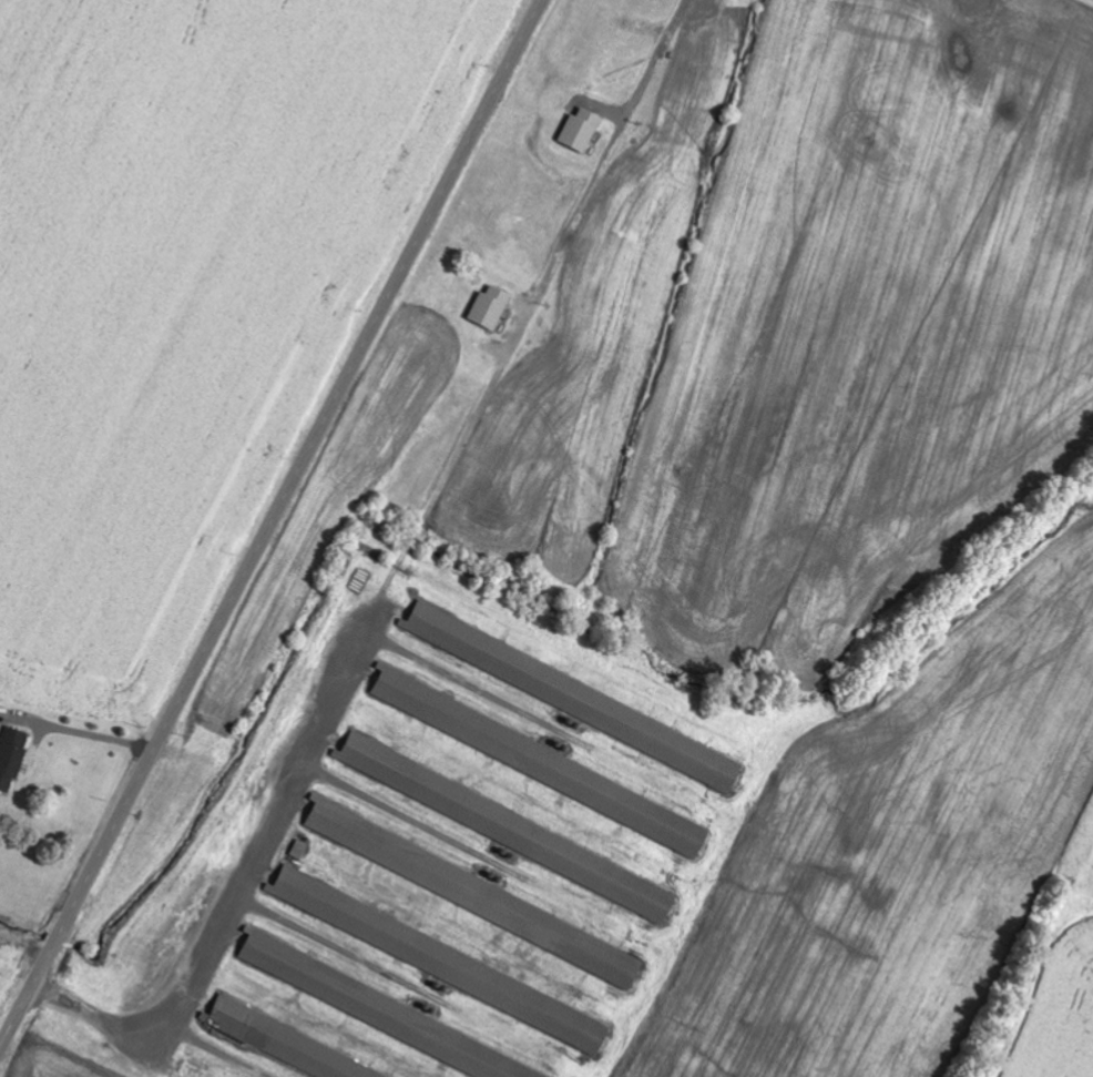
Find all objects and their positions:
building: (581, 131)
building: (491, 308)
road: (272, 525)
building: (575, 697)
building: (12, 756)
building: (508, 827)
building: (300, 850)
building: (442, 959)
building: (384, 1012)
building: (283, 1046)

